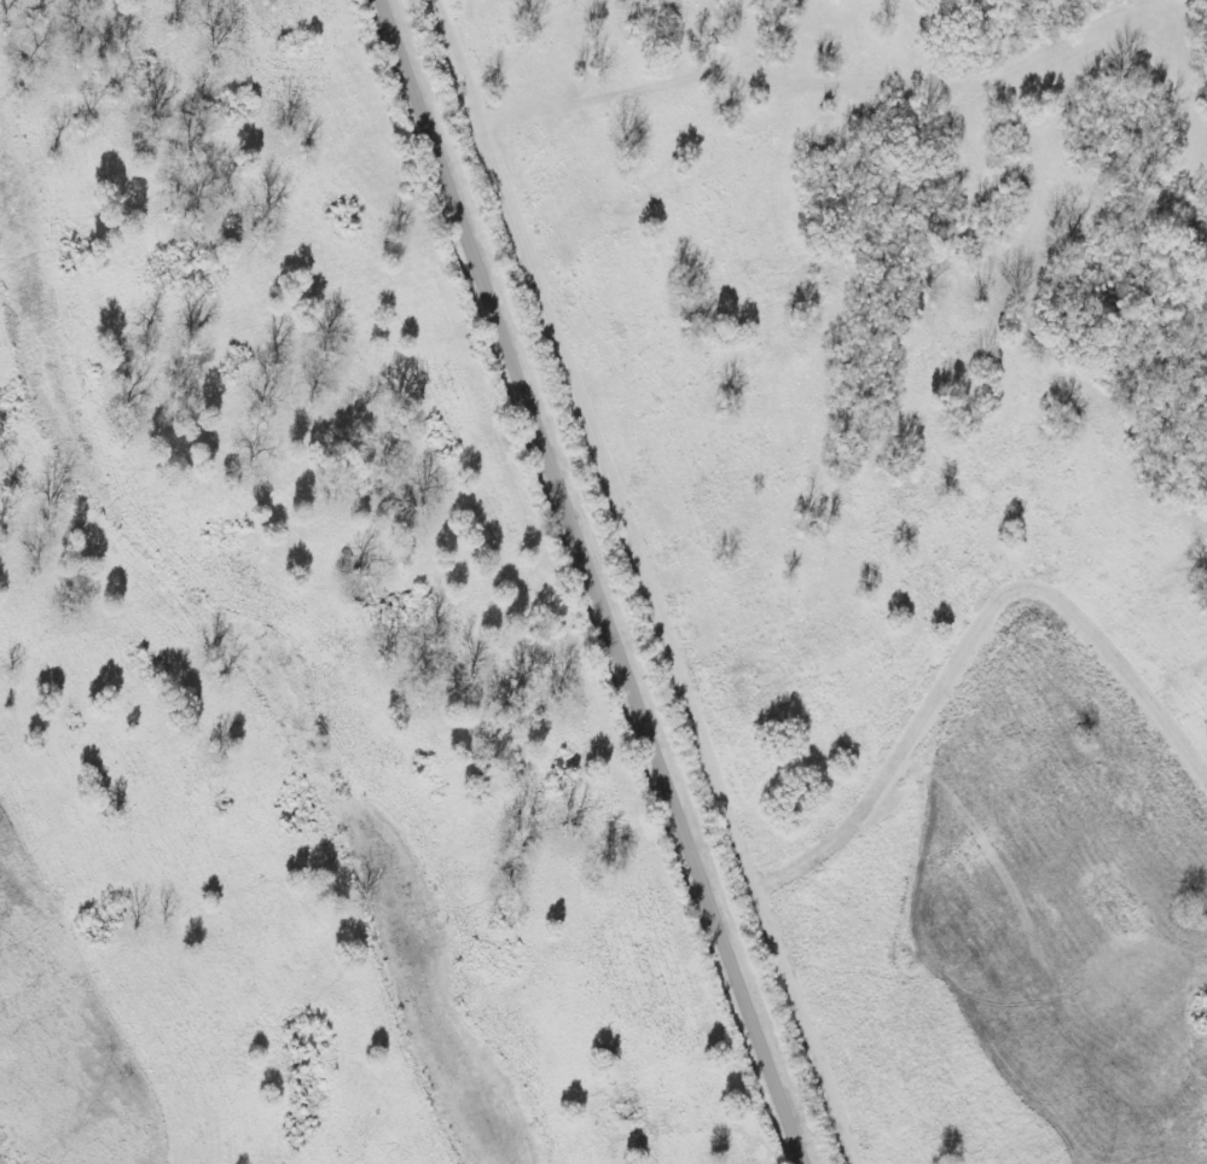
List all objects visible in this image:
road: (594, 582)

